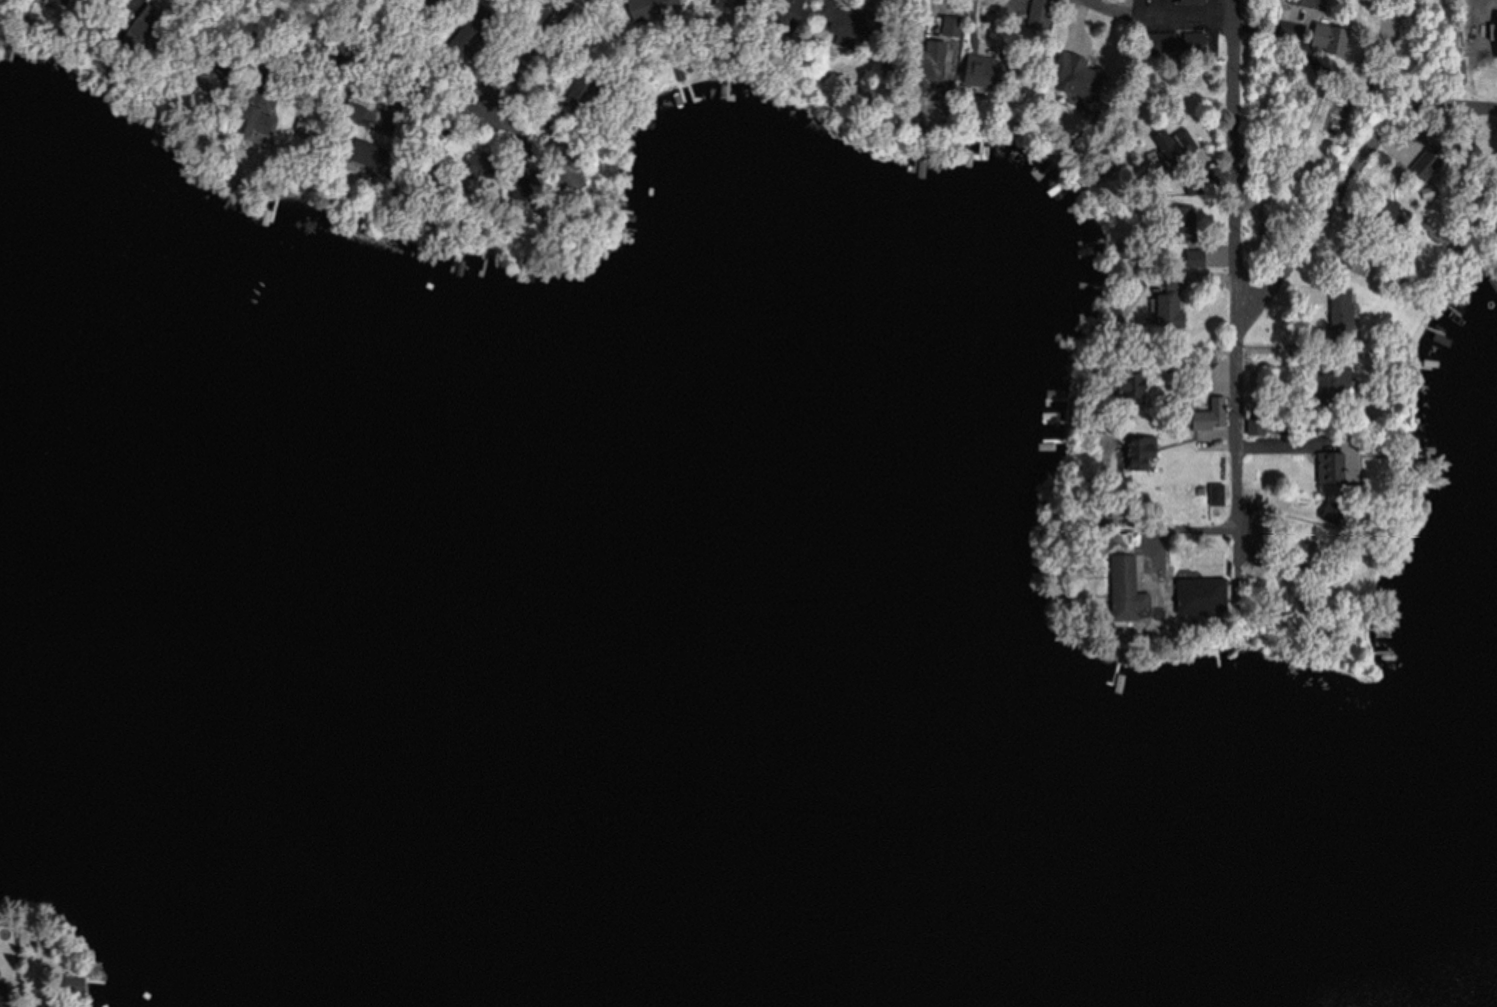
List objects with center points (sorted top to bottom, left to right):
building: (1179, 0)
building: (1306, 4)
building: (666, 6)
building: (1045, 13)
road: (1153, 16)
building: (849, 22)
building: (1492, 35)
building: (1333, 41)
road: (525, 57)
road: (1345, 182)
building: (1354, 264)
road: (1237, 282)
building: (1164, 298)
building: (1334, 315)
building: (1326, 386)
building: (1206, 416)
building: (1251, 426)
building: (1212, 494)
building: (1120, 588)
building: (1194, 602)

